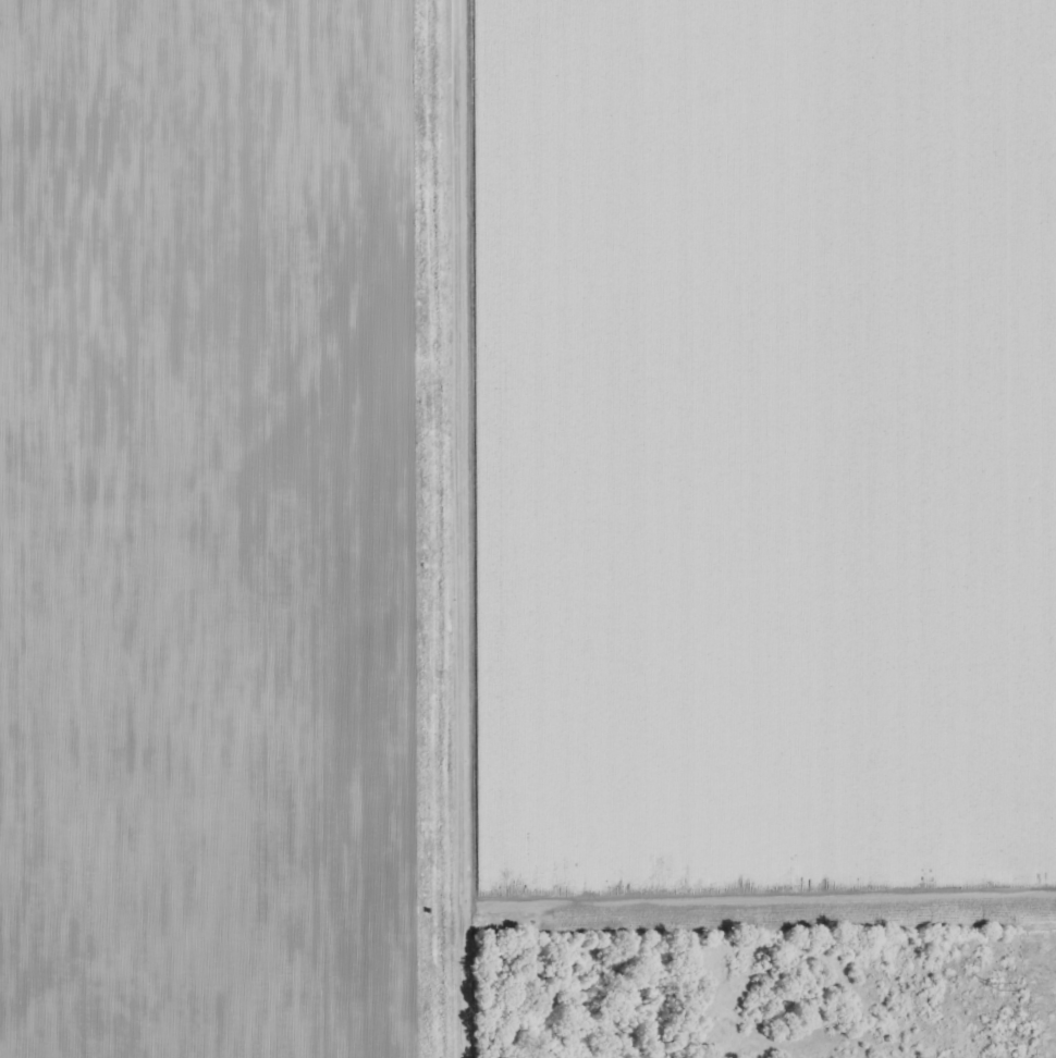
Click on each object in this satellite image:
power tower: (999, 993)

